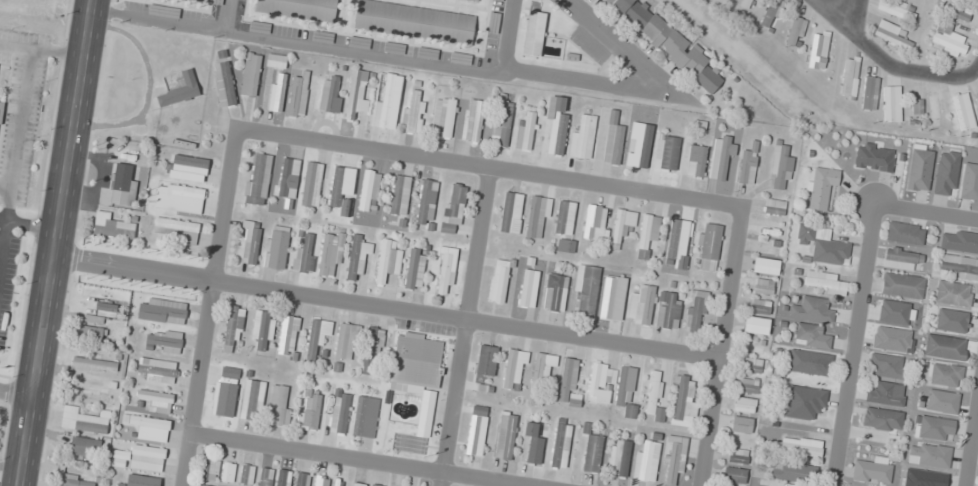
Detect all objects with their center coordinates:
building: (202, 0)
building: (474, 0)
building: (216, 2)
building: (746, 3)
building: (297, 8)
building: (897, 9)
building: (163, 11)
building: (773, 12)
road: (223, 13)
building: (958, 14)
road: (856, 18)
building: (412, 22)
building: (493, 22)
building: (259, 27)
building: (795, 30)
building: (534, 33)
building: (890, 35)
building: (322, 36)
road: (509, 36)
building: (353, 41)
building: (950, 41)
building: (668, 43)
road: (619, 45)
building: (818, 50)
road: (381, 52)
building: (427, 53)
building: (460, 58)
building: (276, 61)
road: (887, 63)
building: (250, 74)
building: (850, 77)
building: (223, 78)
building: (179, 91)
building: (277, 92)
building: (358, 93)
building: (869, 93)
building: (330, 94)
building: (298, 95)
building: (977, 98)
building: (387, 101)
building: (891, 104)
building: (0, 108)
building: (963, 111)
building: (413, 112)
building: (443, 117)
building: (474, 121)
building: (502, 122)
building: (555, 125)
building: (526, 131)
building: (582, 136)
building: (611, 138)
building: (642, 149)
building: (666, 153)
building: (721, 157)
building: (875, 157)
building: (696, 161)
road: (493, 166)
building: (190, 167)
building: (747, 167)
building: (780, 167)
building: (919, 170)
building: (946, 173)
building: (288, 178)
building: (258, 179)
building: (969, 182)
building: (122, 184)
building: (312, 184)
building: (341, 189)
building: (820, 189)
building: (369, 191)
building: (182, 195)
building: (400, 195)
building: (425, 202)
building: (774, 206)
building: (453, 209)
building: (511, 213)
road: (927, 214)
building: (537, 217)
building: (564, 218)
building: (594, 222)
building: (622, 226)
building: (111, 227)
building: (175, 230)
building: (647, 233)
building: (905, 233)
building: (677, 240)
building: (959, 241)
building: (251, 242)
road: (57, 243)
building: (822, 245)
building: (707, 246)
building: (278, 247)
building: (304, 252)
building: (330, 253)
building: (358, 257)
building: (902, 259)
building: (388, 261)
building: (958, 267)
road: (134, 269)
building: (414, 269)
building: (445, 271)
building: (500, 281)
building: (825, 283)
building: (902, 285)
building: (763, 286)
building: (528, 288)
building: (586, 289)
building: (555, 292)
building: (953, 293)
building: (612, 298)
building: (641, 304)
building: (760, 306)
road: (209, 307)
building: (813, 309)
building: (669, 310)
building: (162, 311)
building: (696, 311)
building: (895, 312)
road: (468, 319)
building: (951, 320)
road: (473, 326)
building: (231, 328)
building: (262, 330)
building: (90, 334)
building: (286, 336)
building: (811, 336)
building: (317, 338)
building: (891, 339)
building: (163, 341)
building: (345, 342)
road: (856, 345)
road: (724, 347)
building: (945, 347)
building: (372, 351)
building: (809, 362)
building: (94, 364)
building: (482, 364)
building: (751, 365)
building: (888, 365)
building: (513, 369)
building: (158, 370)
building: (418, 370)
building: (542, 370)
building: (944, 375)
building: (567, 379)
building: (600, 380)
building: (747, 385)
building: (225, 391)
building: (626, 391)
road: (17, 394)
building: (96, 394)
building: (886, 394)
building: (654, 397)
building: (252, 398)
building: (156, 400)
building: (684, 401)
building: (804, 401)
building: (942, 402)
building: (279, 405)
building: (744, 405)
building: (309, 411)
building: (338, 412)
building: (365, 417)
building: (881, 419)
building: (85, 420)
building: (741, 425)
building: (148, 427)
building: (934, 428)
building: (476, 431)
building: (505, 436)
building: (404, 443)
building: (560, 443)
building: (534, 446)
building: (797, 446)
building: (86, 447)
building: (592, 453)
road: (973, 453)
building: (738, 455)
building: (930, 455)
building: (140, 458)
building: (619, 458)
road: (361, 460)
building: (645, 461)
building: (674, 461)
building: (209, 469)
building: (873, 470)
building: (228, 472)
building: (791, 472)
building: (246, 475)
building: (734, 475)
building: (265, 476)
building: (283, 478)
building: (139, 479)
building: (302, 479)
building: (76, 480)
building: (321, 481)
building: (358, 484)
building: (204, 485)
building: (375, 485)

